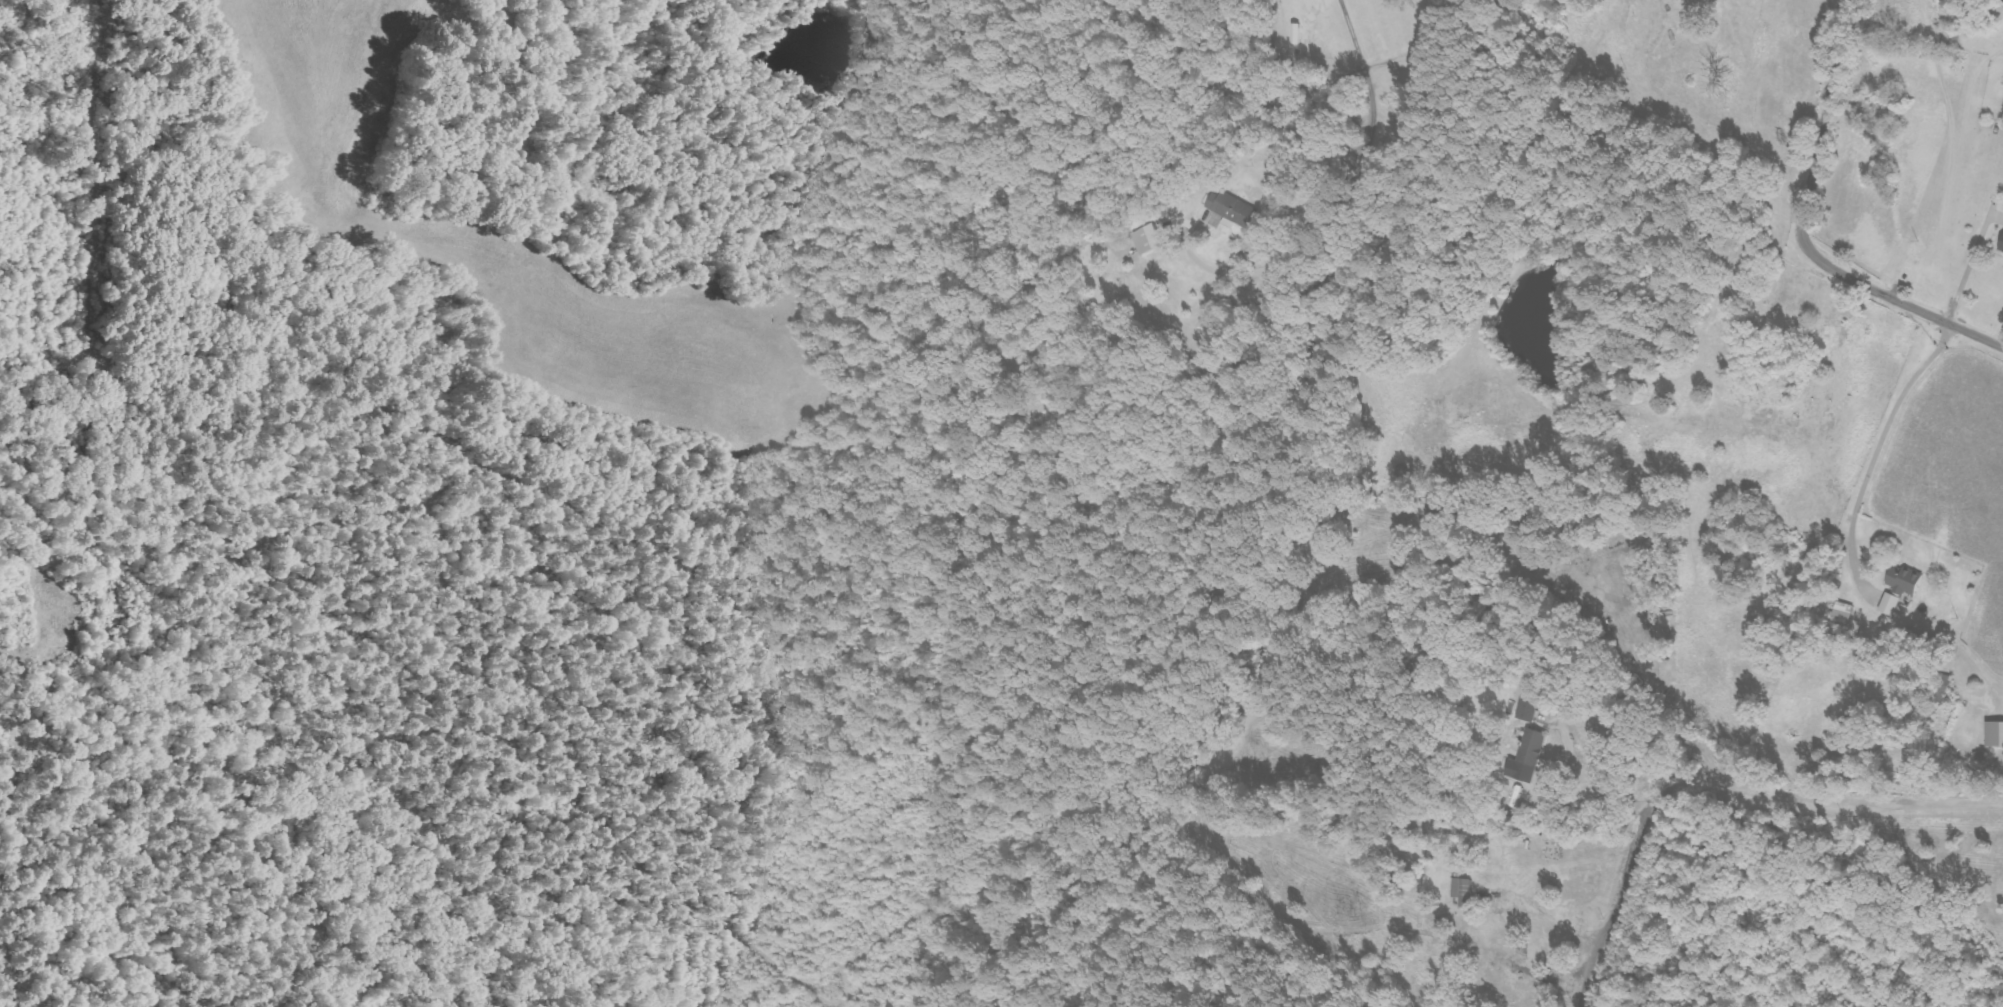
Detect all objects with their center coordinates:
building: (2000, 1)
road: (1363, 97)
building: (1228, 208)
road: (1799, 233)
building: (1143, 240)
building: (2000, 245)
building: (1901, 582)
building: (1887, 604)
building: (1841, 610)
building: (1940, 688)
building: (1526, 710)
building: (1993, 733)
building: (1525, 757)
road: (1720, 793)
building: (1460, 891)

